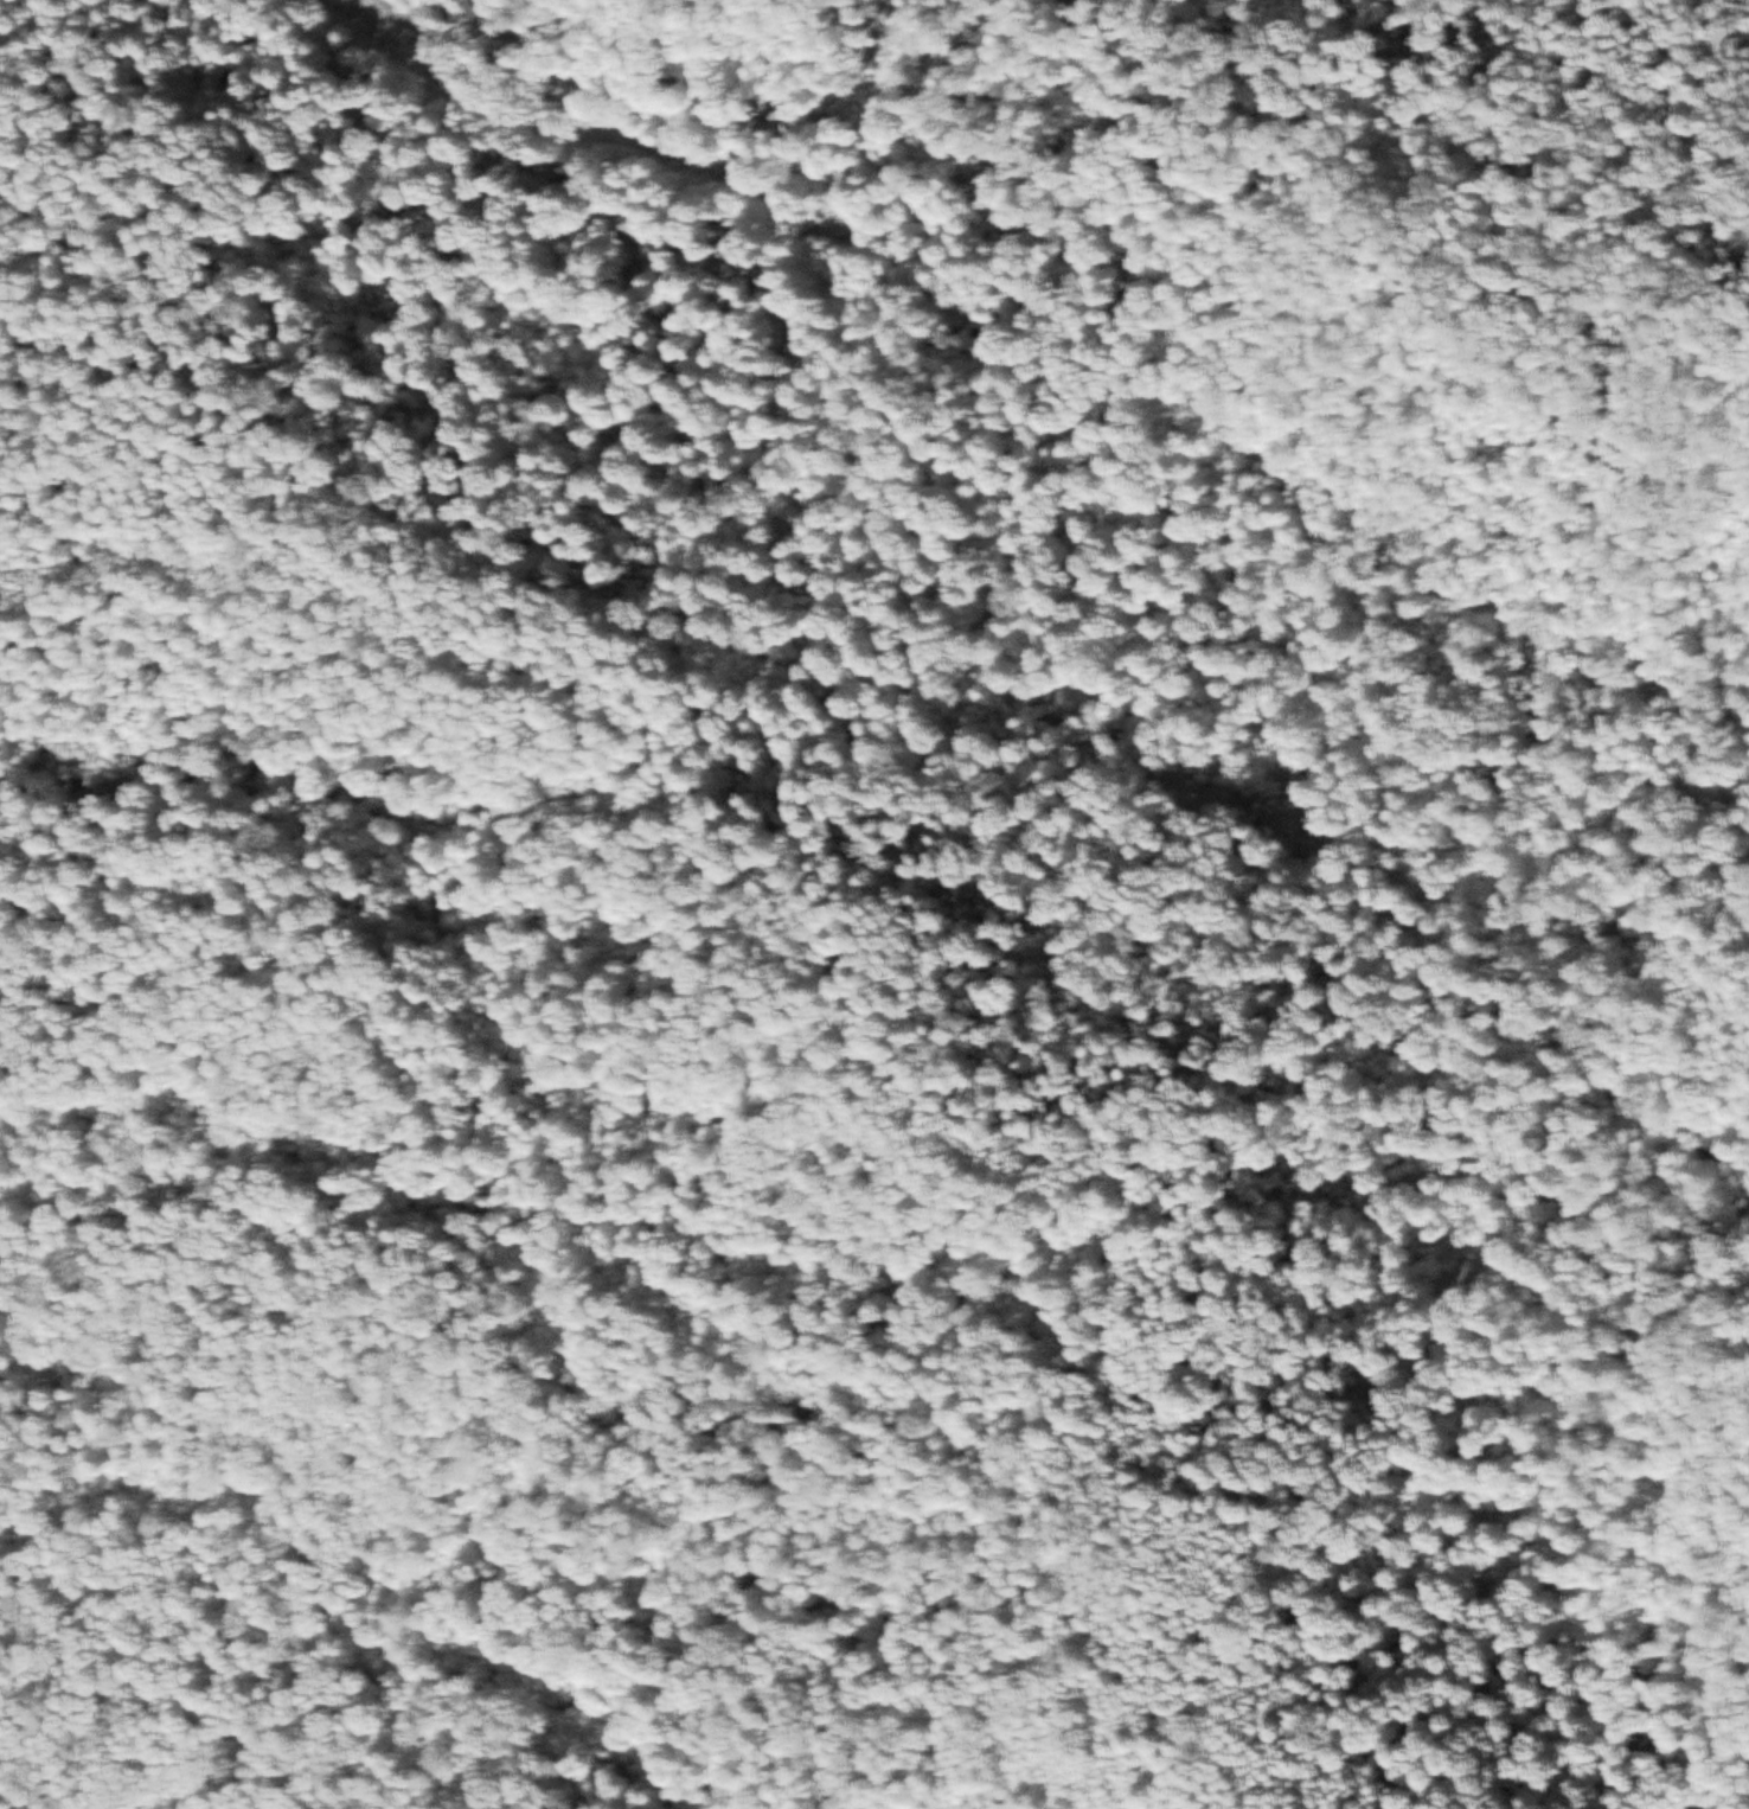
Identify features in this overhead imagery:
road: (303, 124)
road: (1255, 196)
road: (1533, 298)
road: (696, 345)
road: (589, 628)
road: (207, 759)
road: (18, 870)
road: (861, 1428)
road: (1729, 1509)
road: (763, 1556)

